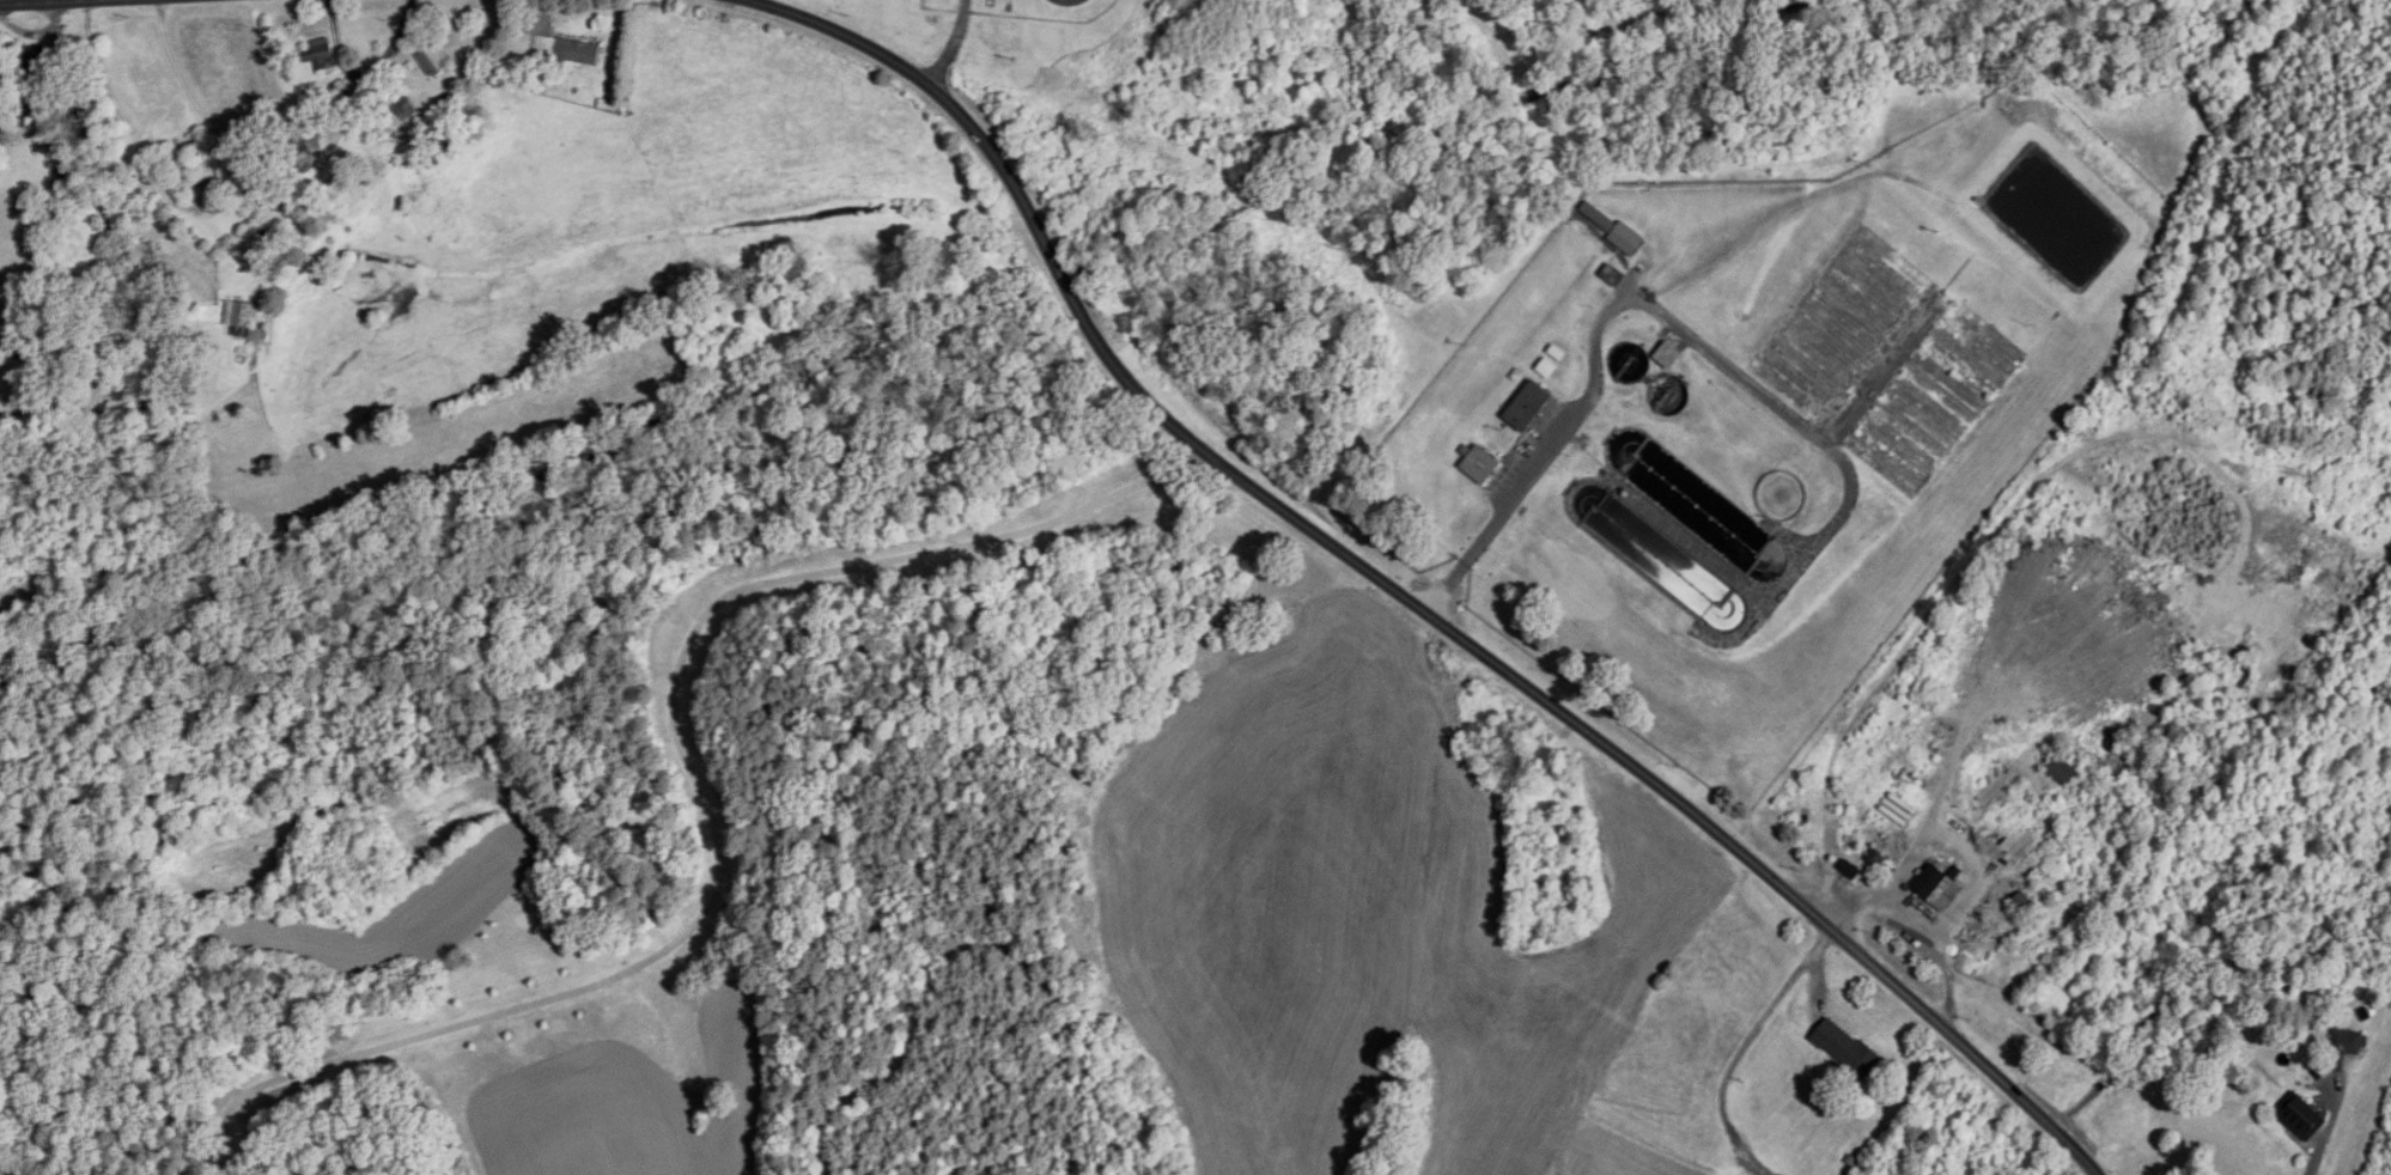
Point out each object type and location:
road: (44, 1)
road: (951, 43)
building: (567, 50)
building: (322, 56)
building: (437, 60)
building: (37, 69)
road: (108, 83)
road: (190, 90)
building: (339, 95)
building: (305, 152)
building: (72, 175)
building: (195, 181)
road: (165, 193)
building: (241, 316)
building: (1528, 407)
road: (1551, 450)
building: (1482, 465)
road: (1404, 595)
building: (2062, 771)
road: (699, 789)
building: (1850, 869)
building: (1934, 883)
building: (2022, 903)
road: (1925, 931)
building: (2027, 949)
road: (1742, 1046)
building: (2344, 1048)
building: (1847, 1049)
building: (2301, 1118)
road: (2328, 1130)
building: (1800, 1138)

